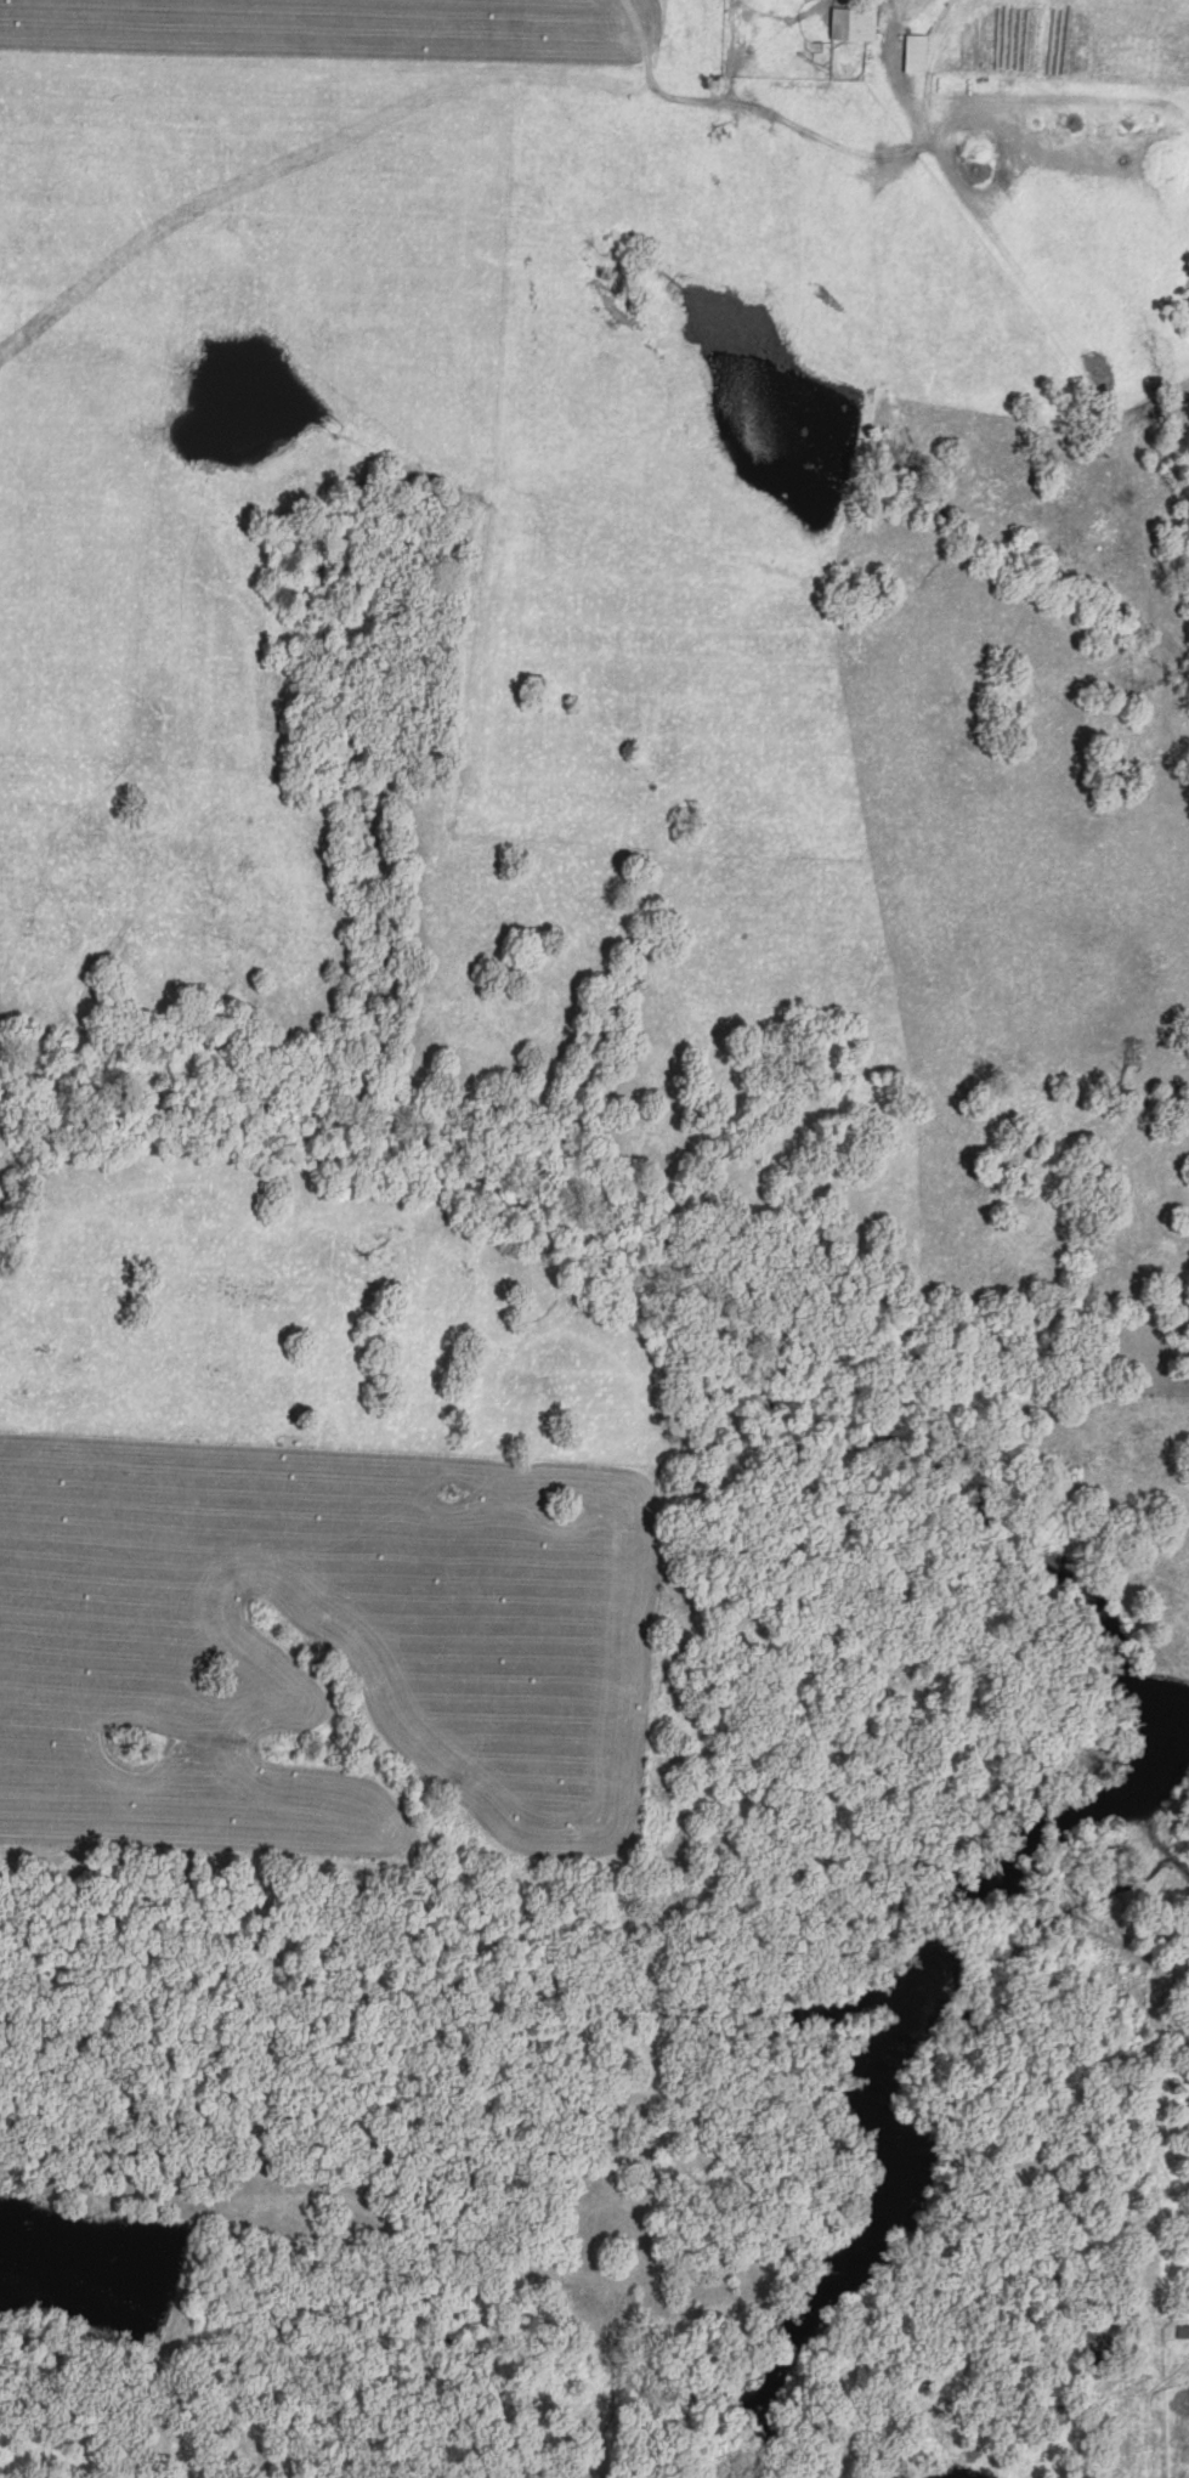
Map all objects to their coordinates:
building: (853, 21)

